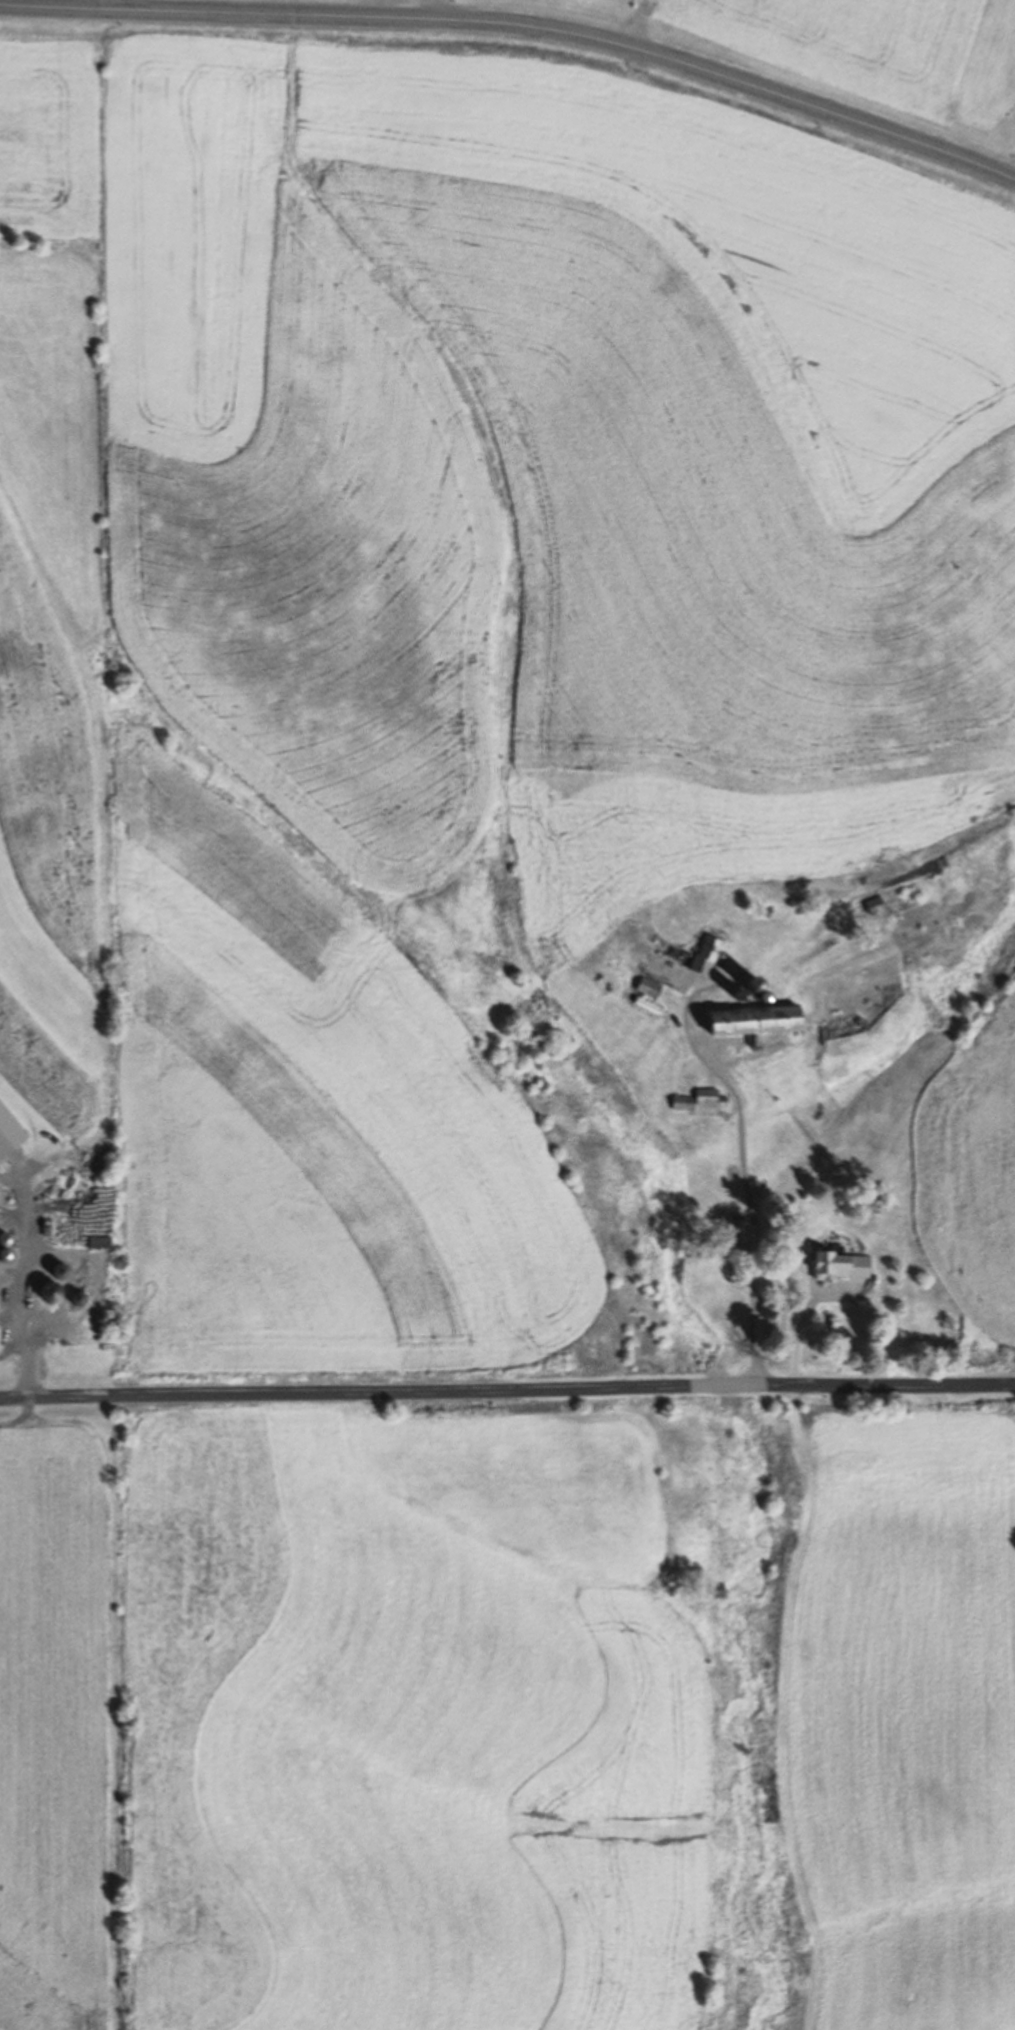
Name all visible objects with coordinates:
road: (519, 30)
road: (1012, 178)
building: (878, 906)
building: (709, 955)
building: (651, 988)
building: (650, 1006)
building: (760, 1020)
building: (709, 1096)
building: (683, 1103)
building: (738, 1228)
building: (102, 1243)
building: (844, 1266)
building: (64, 1272)
building: (82, 1300)
building: (30, 1310)
road: (507, 1380)

